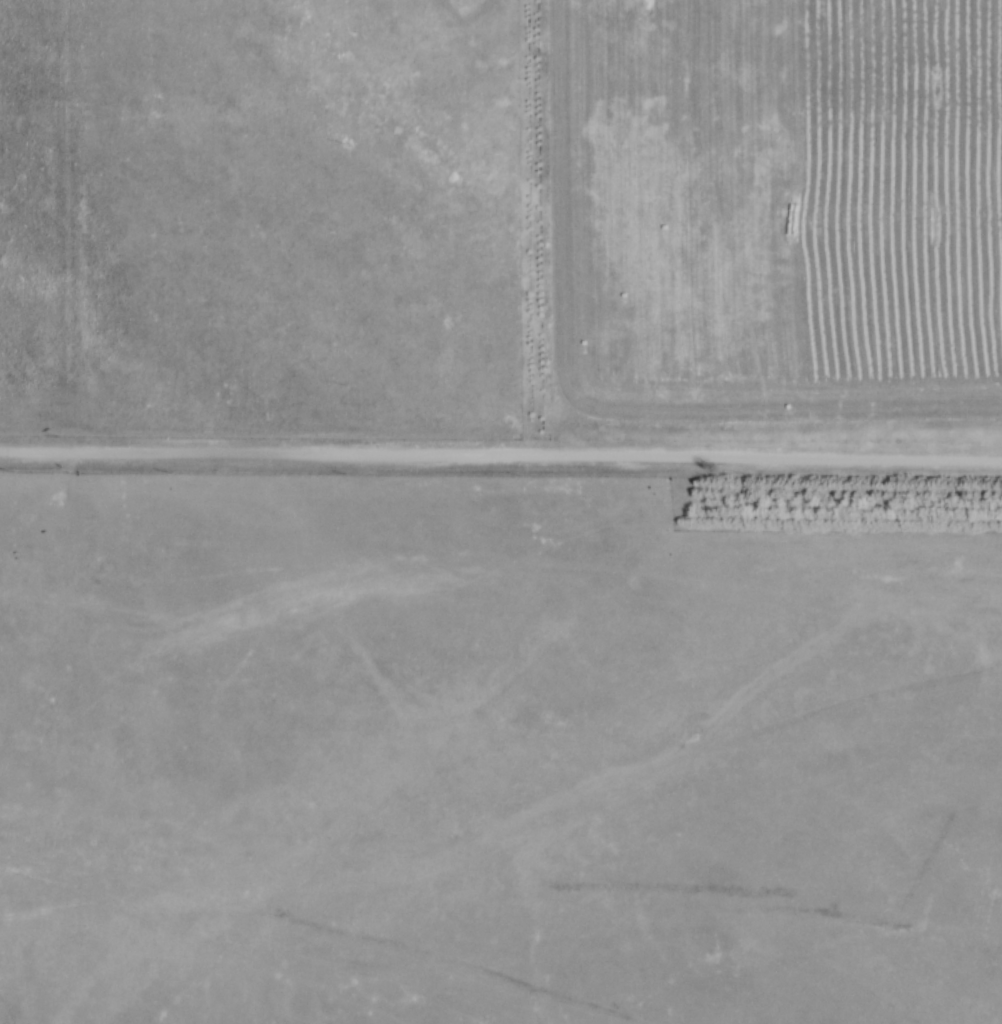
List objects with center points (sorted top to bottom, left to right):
road: (500, 456)

